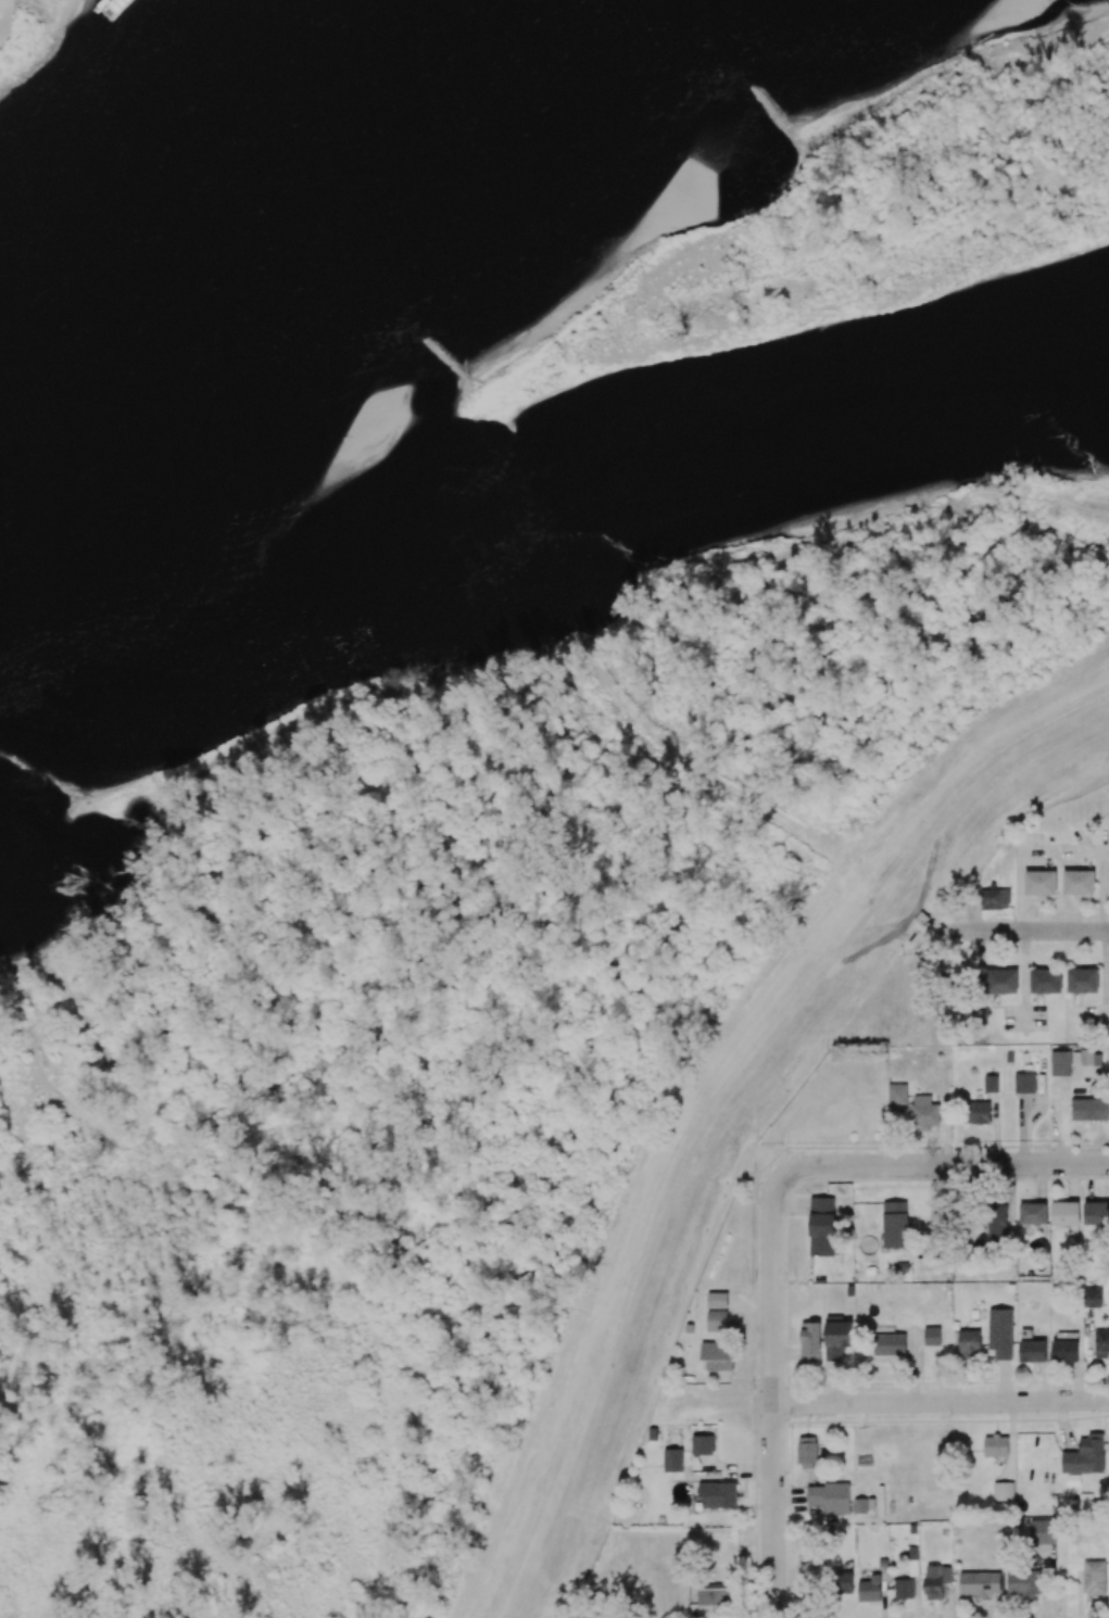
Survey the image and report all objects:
park: (22, 31)
river: (288, 228)
river: (549, 516)
road: (618, 641)
road: (73, 834)
building: (1079, 882)
building: (1041, 883)
building: (995, 899)
road: (1018, 930)
road: (115, 975)
building: (1001, 981)
building: (1046, 981)
building: (1083, 981)
building: (950, 987)
road: (49, 1042)
building: (1060, 1063)
road: (24, 1064)
building: (1024, 1083)
building: (991, 1084)
building: (897, 1094)
road: (724, 1101)
building: (1089, 1109)
road: (55, 1112)
building: (924, 1112)
building: (976, 1112)
road: (118, 1145)
road: (41, 1148)
road: (16, 1162)
road: (949, 1163)
road: (97, 1165)
road: (167, 1186)
road: (61, 1201)
road: (90, 1205)
building: (895, 1225)
building: (821, 1226)
road: (275, 1234)
road: (38, 1272)
road: (84, 1289)
road: (483, 1305)
building: (717, 1312)
building: (837, 1339)
building: (811, 1343)
building: (717, 1356)
road: (773, 1391)
road: (895, 1401)
road: (62, 1425)
road: (301, 1434)
building: (702, 1444)
road: (389, 1445)
building: (672, 1461)
road: (164, 1466)
building: (718, 1494)
road: (267, 1604)

